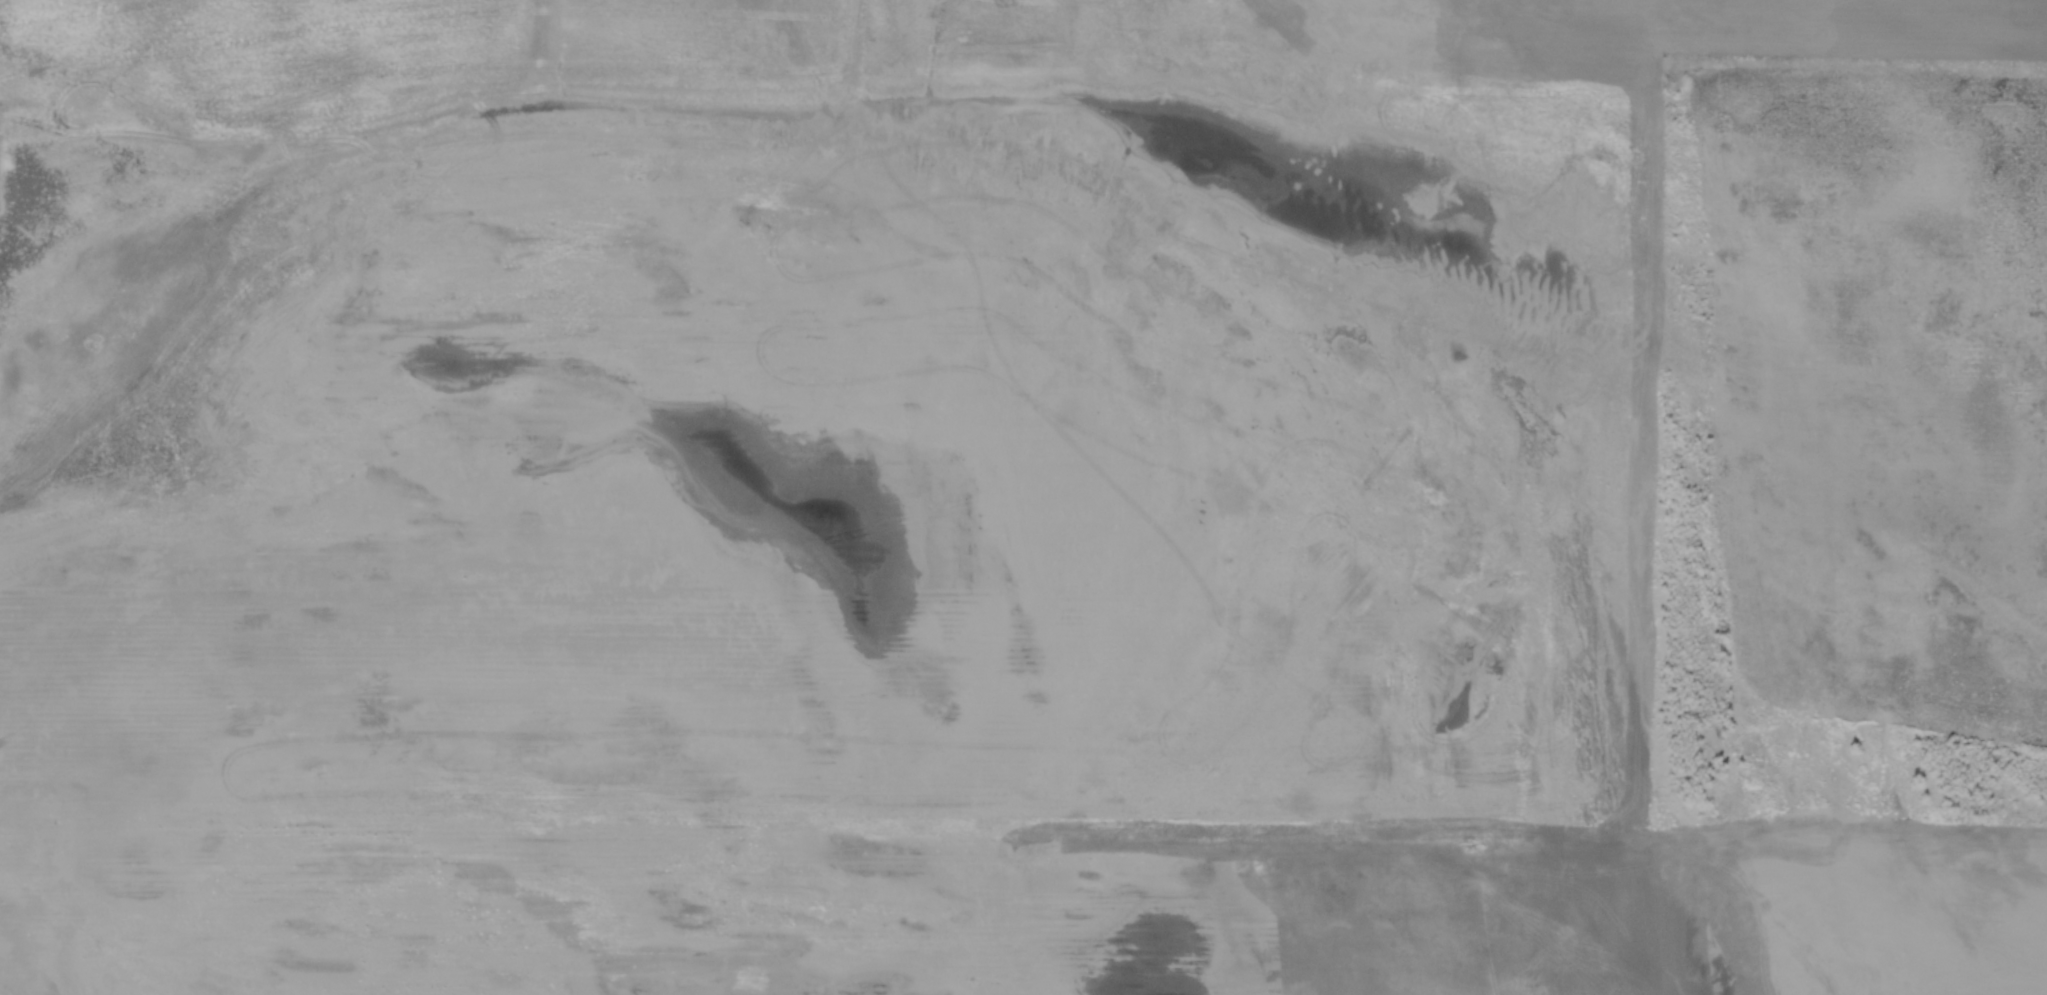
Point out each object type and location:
road: (1024, 793)

